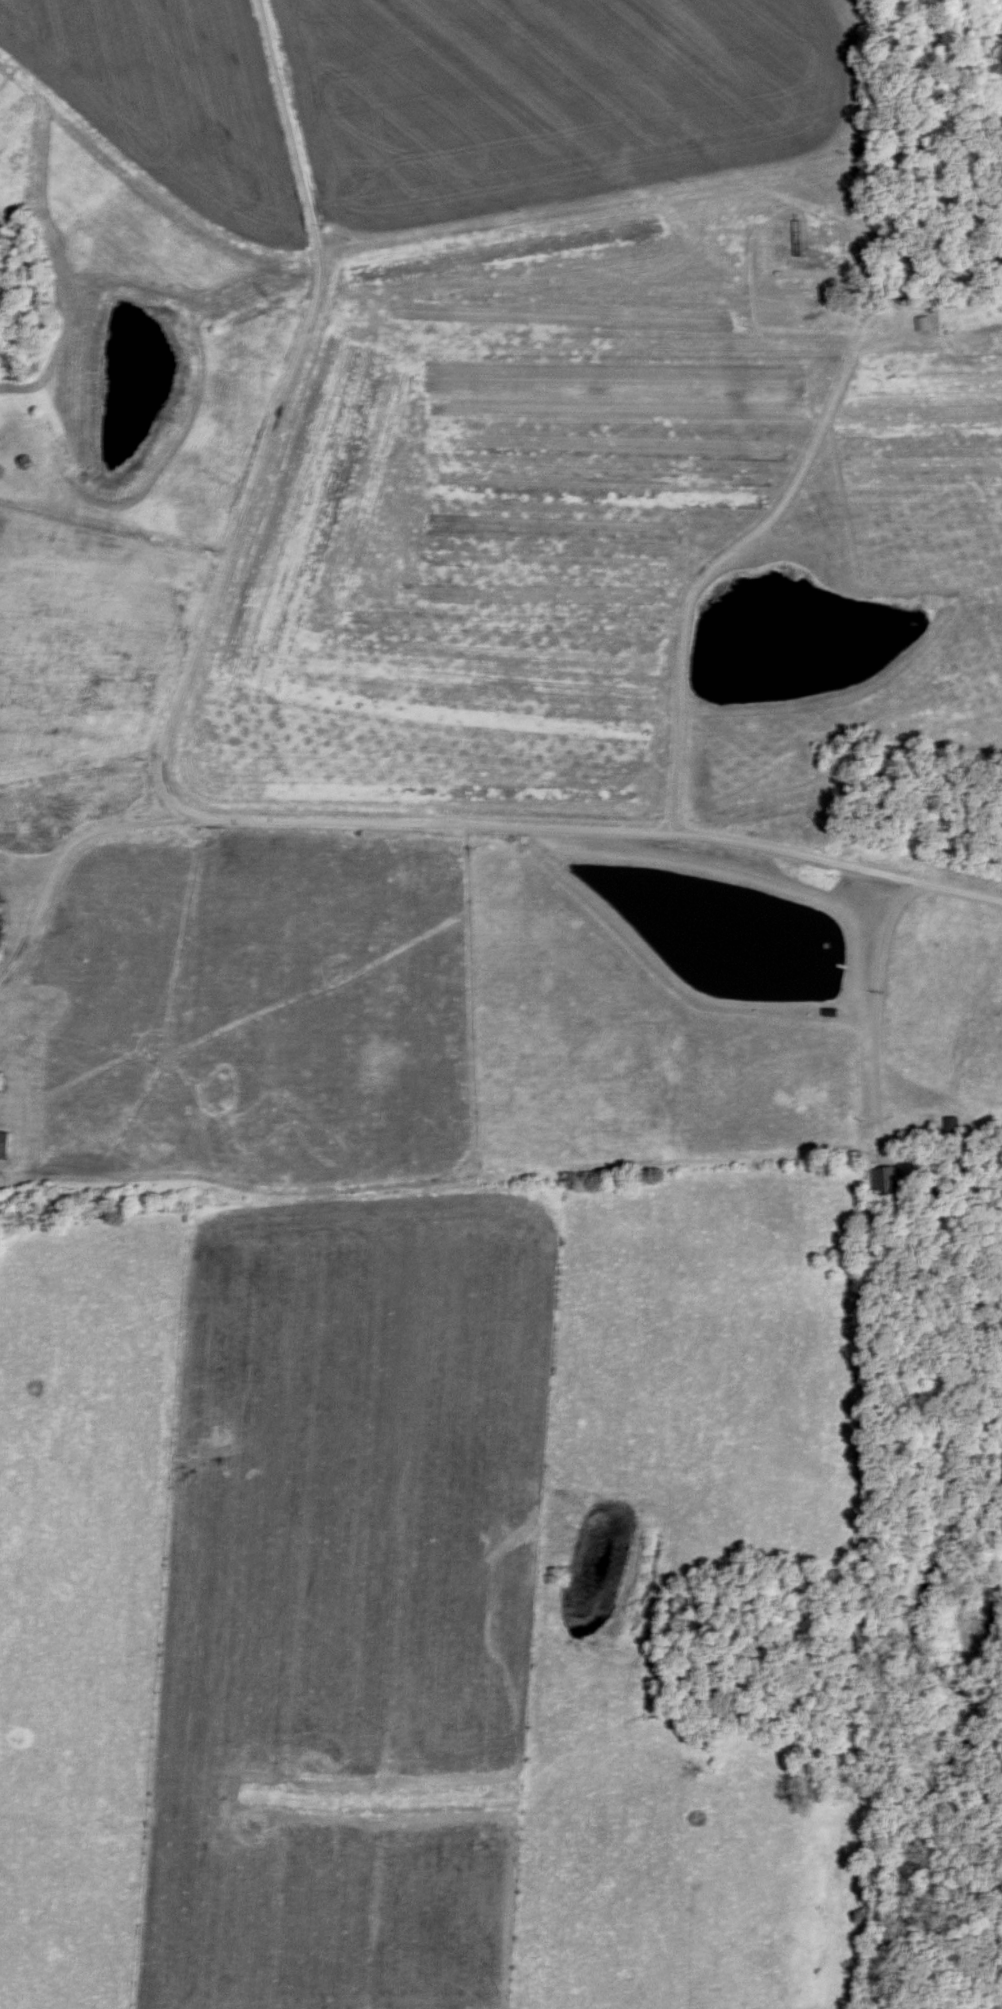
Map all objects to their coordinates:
building: (898, 291)
road: (723, 563)
road: (176, 803)
road: (62, 864)
road: (869, 1015)
building: (7, 1146)
building: (889, 1182)

